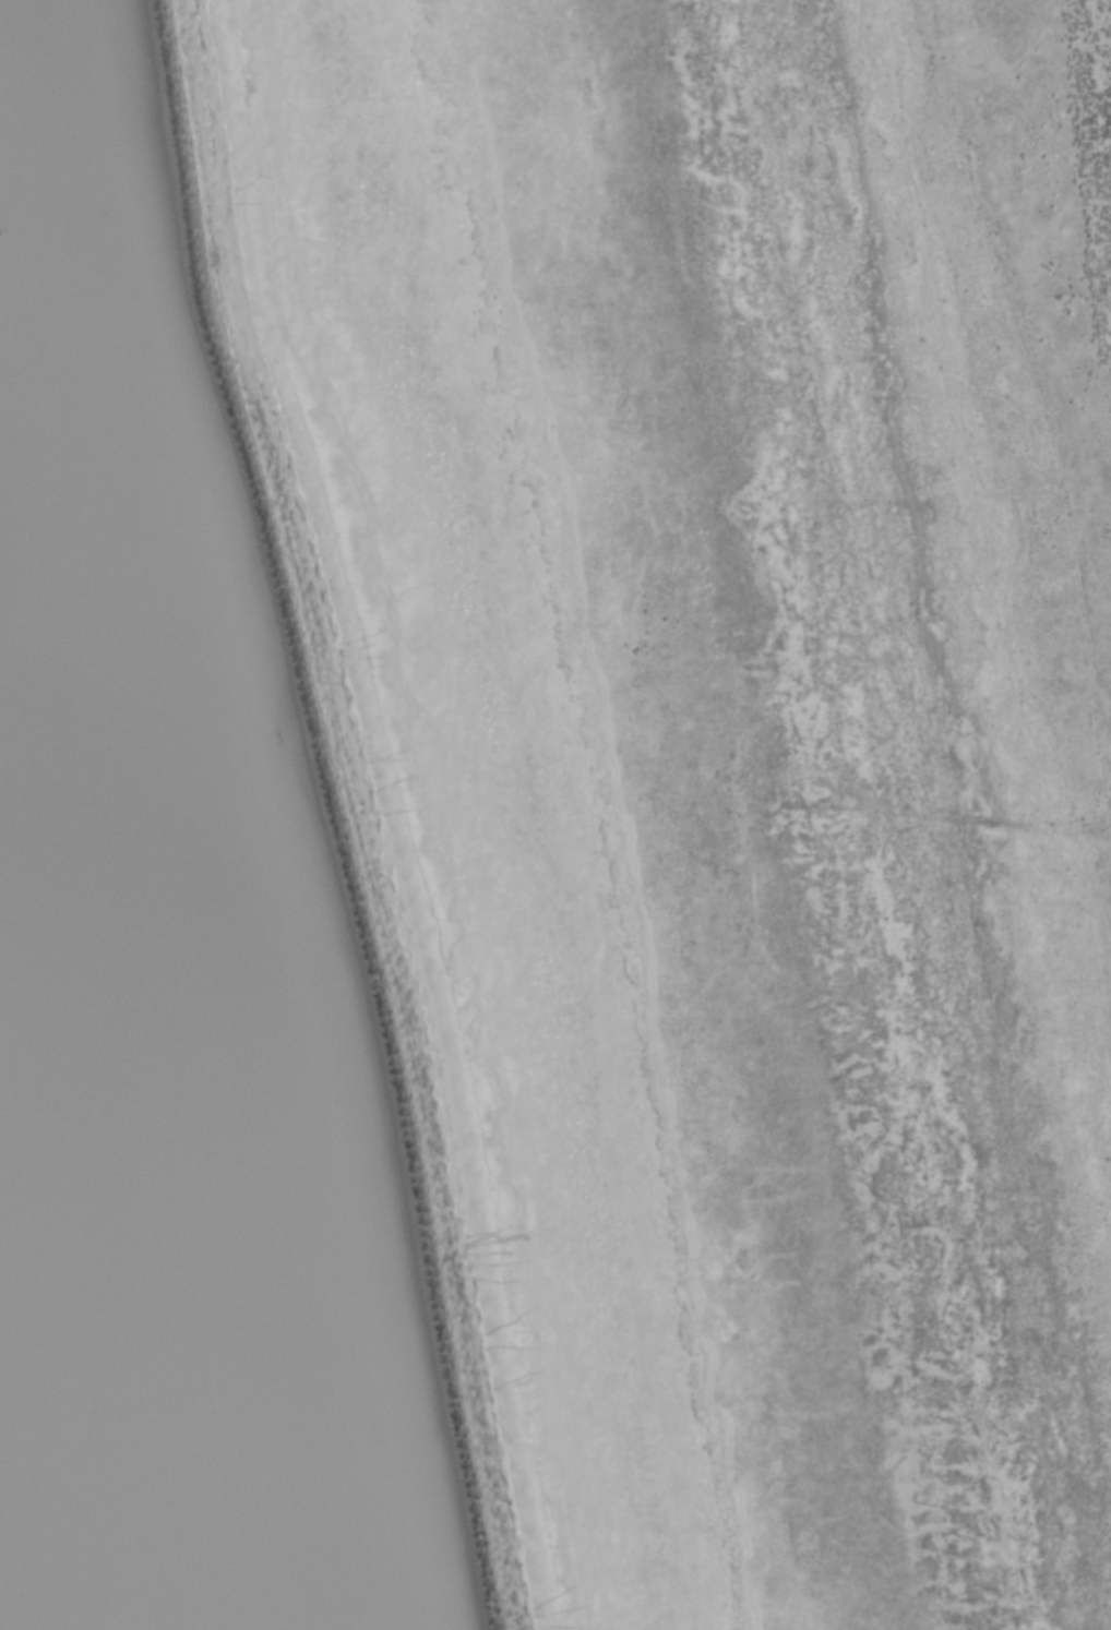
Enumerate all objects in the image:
road: (862, 816)

